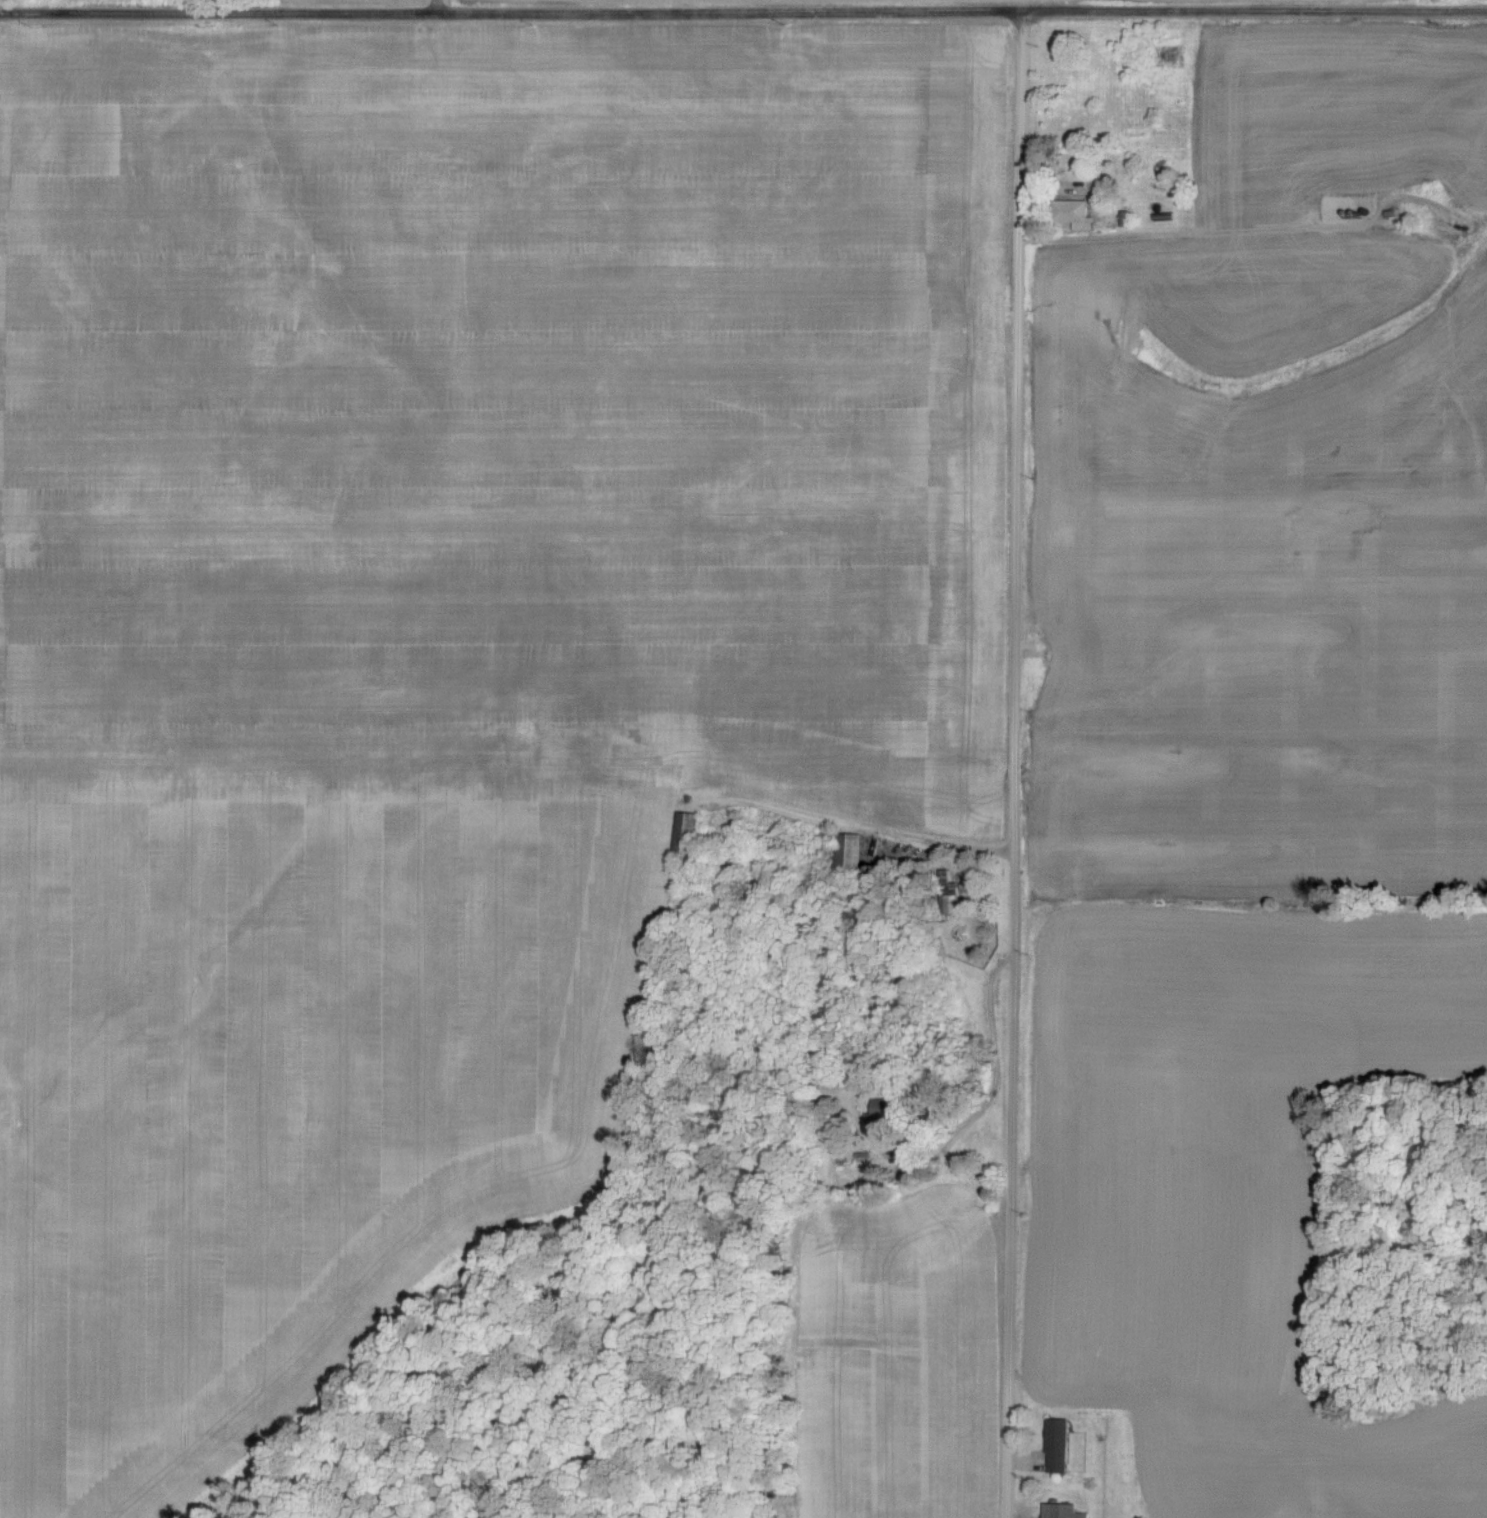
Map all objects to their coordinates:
road: (435, 8)
road: (743, 8)
building: (1081, 217)
road: (1010, 762)
building: (688, 835)
building: (850, 855)
building: (945, 893)
road: (990, 1072)
building: (1061, 1447)
building: (1063, 1512)

